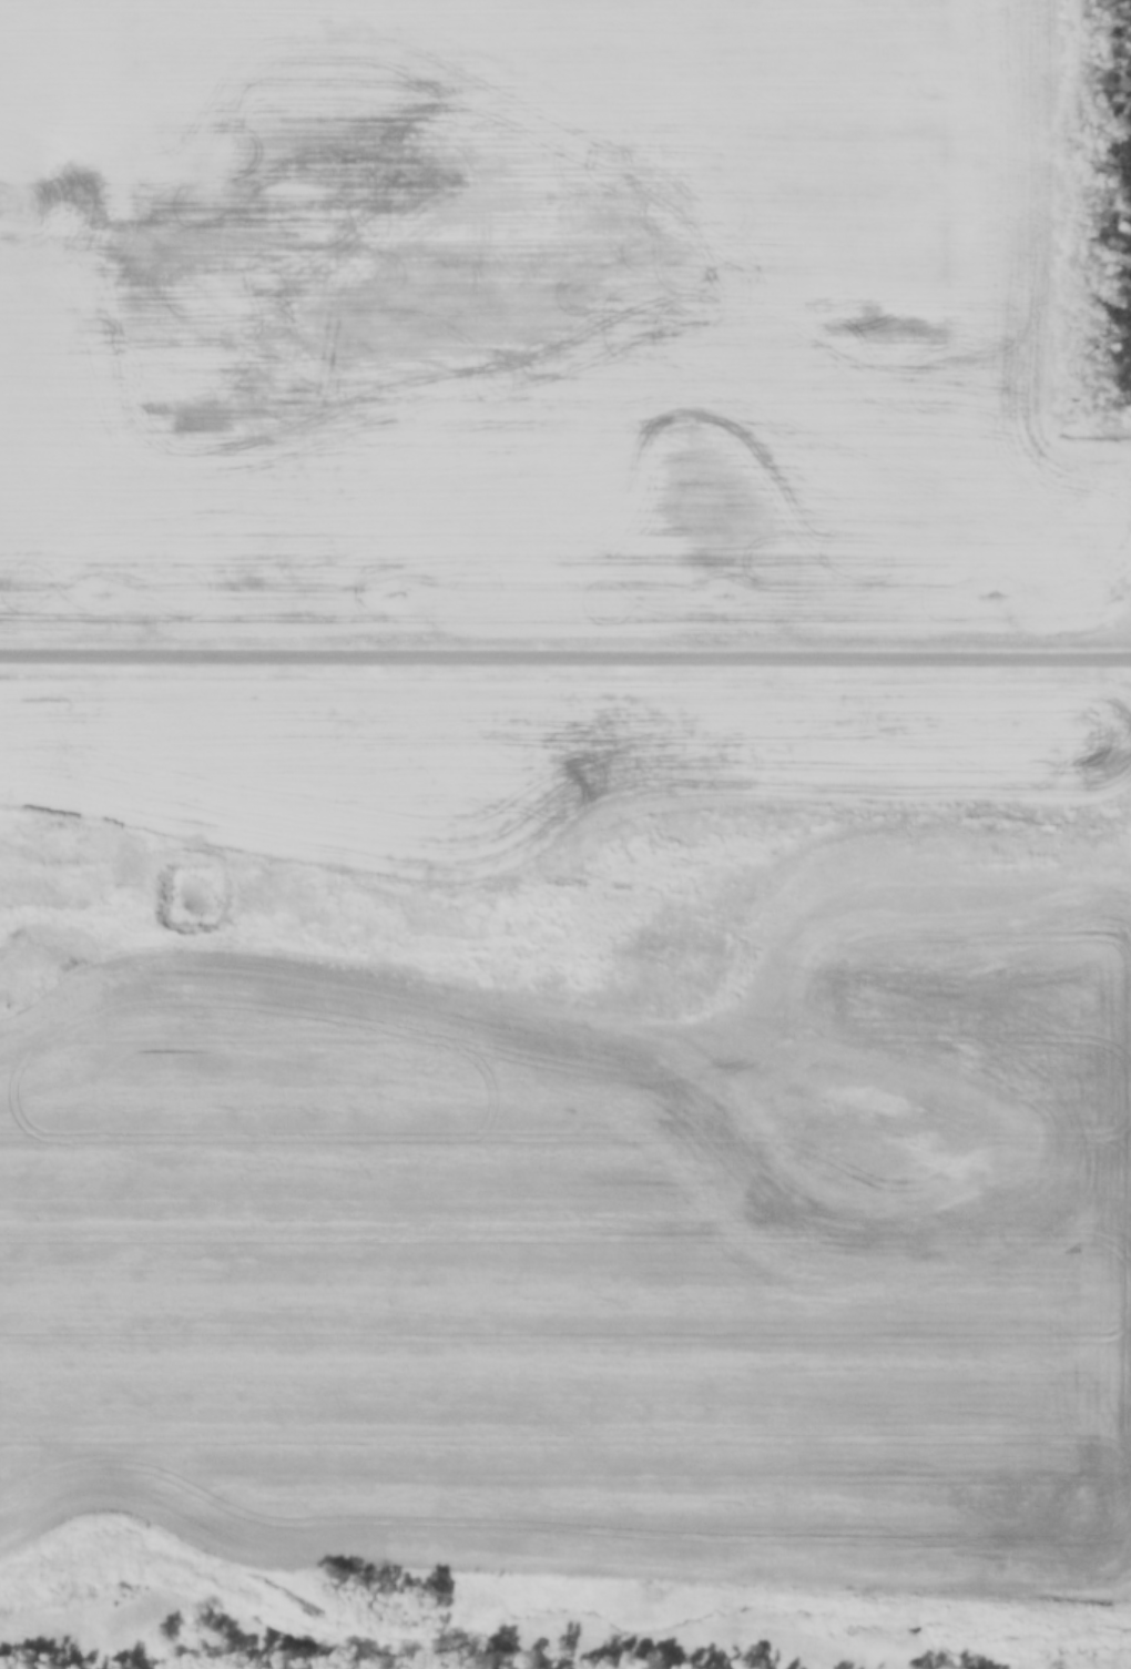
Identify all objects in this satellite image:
road: (565, 655)
building: (80, 733)

